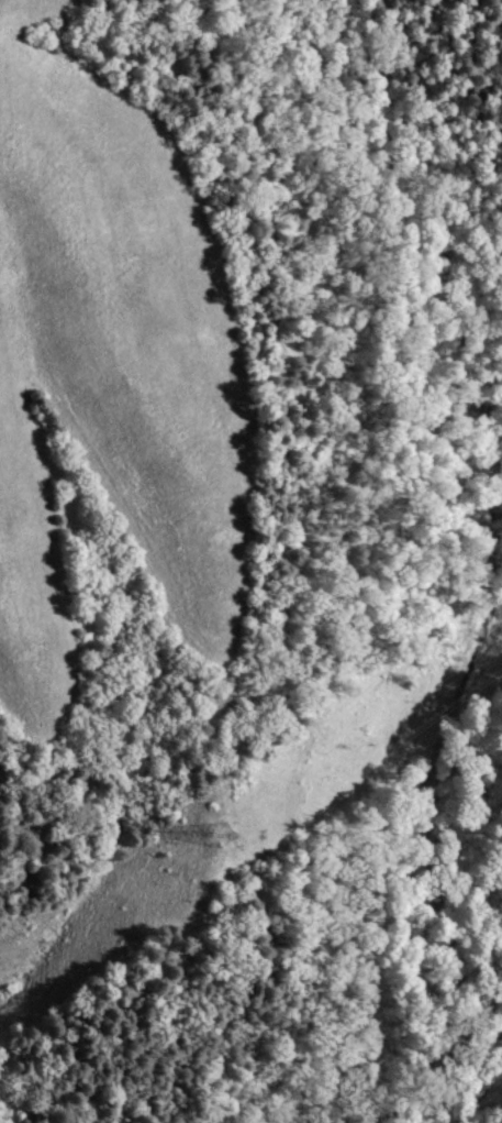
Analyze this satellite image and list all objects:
power tower: (224, 833)

